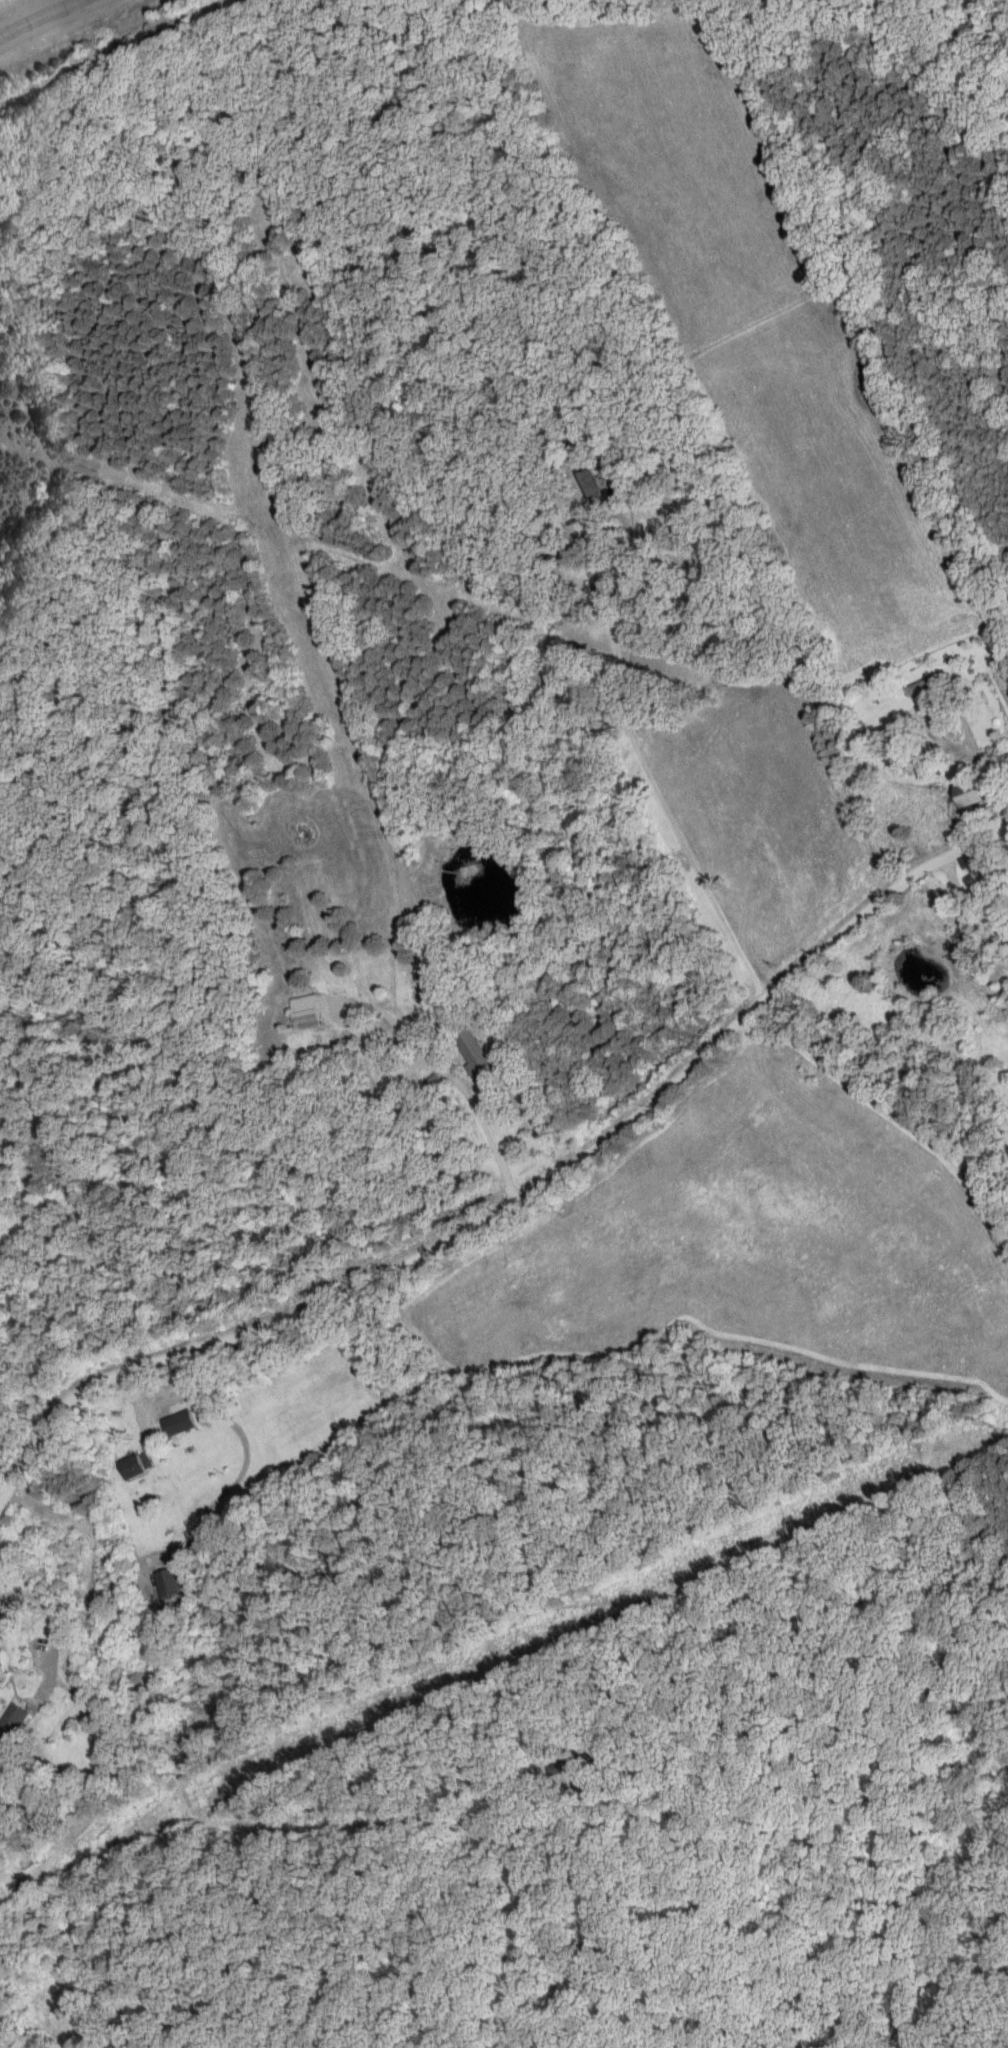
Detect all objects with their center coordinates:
road: (34, 16)
building: (557, 529)
building: (926, 685)
building: (977, 794)
road: (664, 813)
building: (970, 869)
road: (964, 909)
building: (308, 1014)
building: (473, 1053)
road: (459, 1084)
road: (522, 1199)
building: (179, 1424)
building: (135, 1467)
road: (3, 1570)
building: (167, 1584)
building: (12, 1722)
building: (554, 1766)

